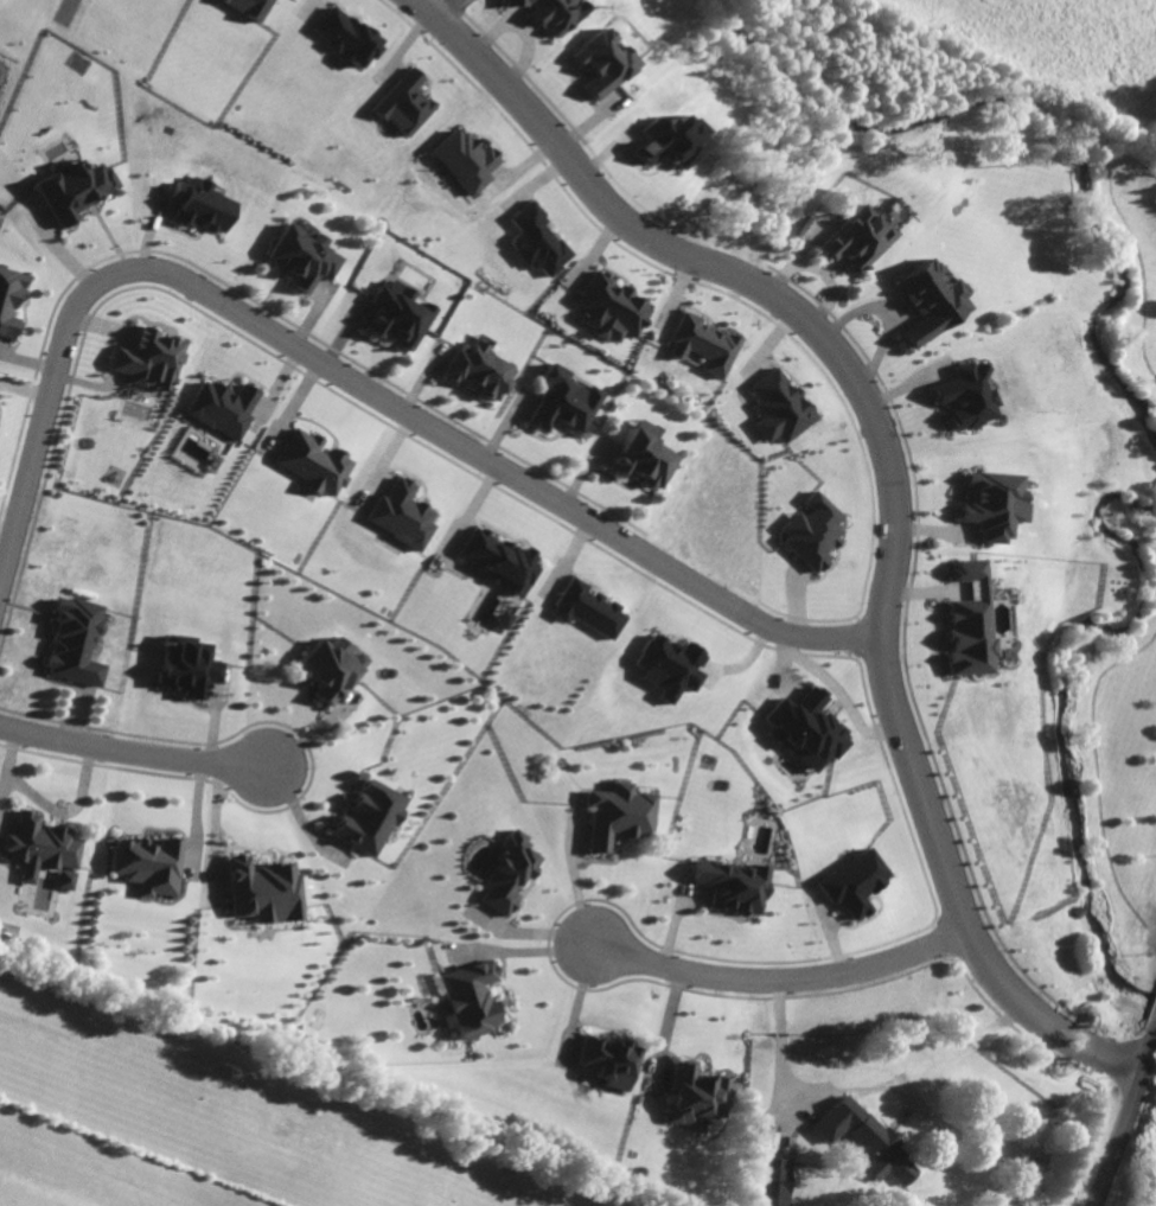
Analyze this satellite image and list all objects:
building: (250, 7)
building: (549, 12)
building: (345, 37)
building: (600, 62)
building: (404, 103)
building: (669, 141)
building: (466, 160)
building: (74, 190)
building: (200, 205)
building: (856, 238)
building: (538, 241)
road: (1147, 247)
building: (301, 257)
road: (1142, 266)
building: (9, 299)
building: (928, 301)
building: (611, 308)
building: (397, 314)
building: (704, 345)
building: (148, 359)
building: (479, 370)
road: (347, 378)
building: (965, 396)
building: (561, 402)
building: (223, 408)
building: (780, 408)
road: (875, 417)
building: (641, 455)
building: (317, 462)
building: (990, 504)
building: (403, 515)
building: (813, 531)
building: (500, 561)
building: (588, 610)
building: (967, 623)
building: (75, 640)
building: (190, 665)
building: (671, 666)
building: (332, 668)
building: (807, 729)
road: (133, 753)
road: (1099, 777)
road: (49, 805)
building: (620, 815)
building: (370, 818)
building: (43, 849)
building: (151, 864)
building: (509, 873)
building: (856, 882)
building: (735, 885)
building: (267, 891)
road: (786, 982)
building: (470, 998)
road: (1088, 1039)
road: (785, 1048)
road: (1079, 1055)
building: (612, 1061)
building: (698, 1095)
road: (1124, 1123)
building: (867, 1140)
building: (774, 1181)

